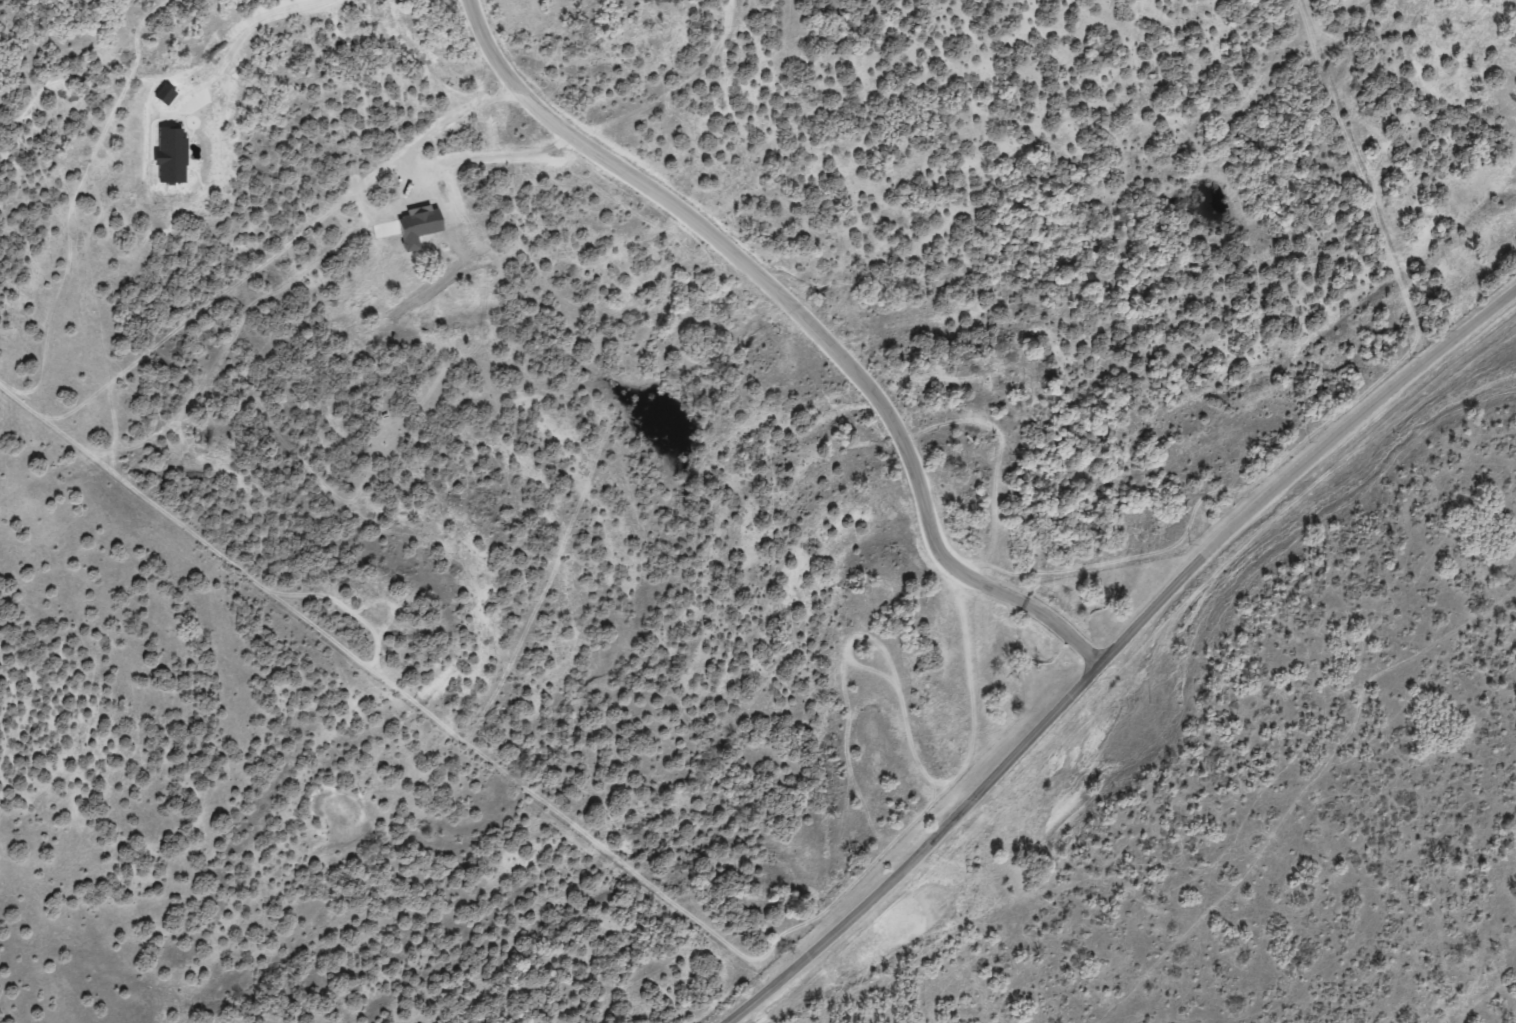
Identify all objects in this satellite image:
road: (252, 26)
road: (808, 323)
road: (1118, 656)

